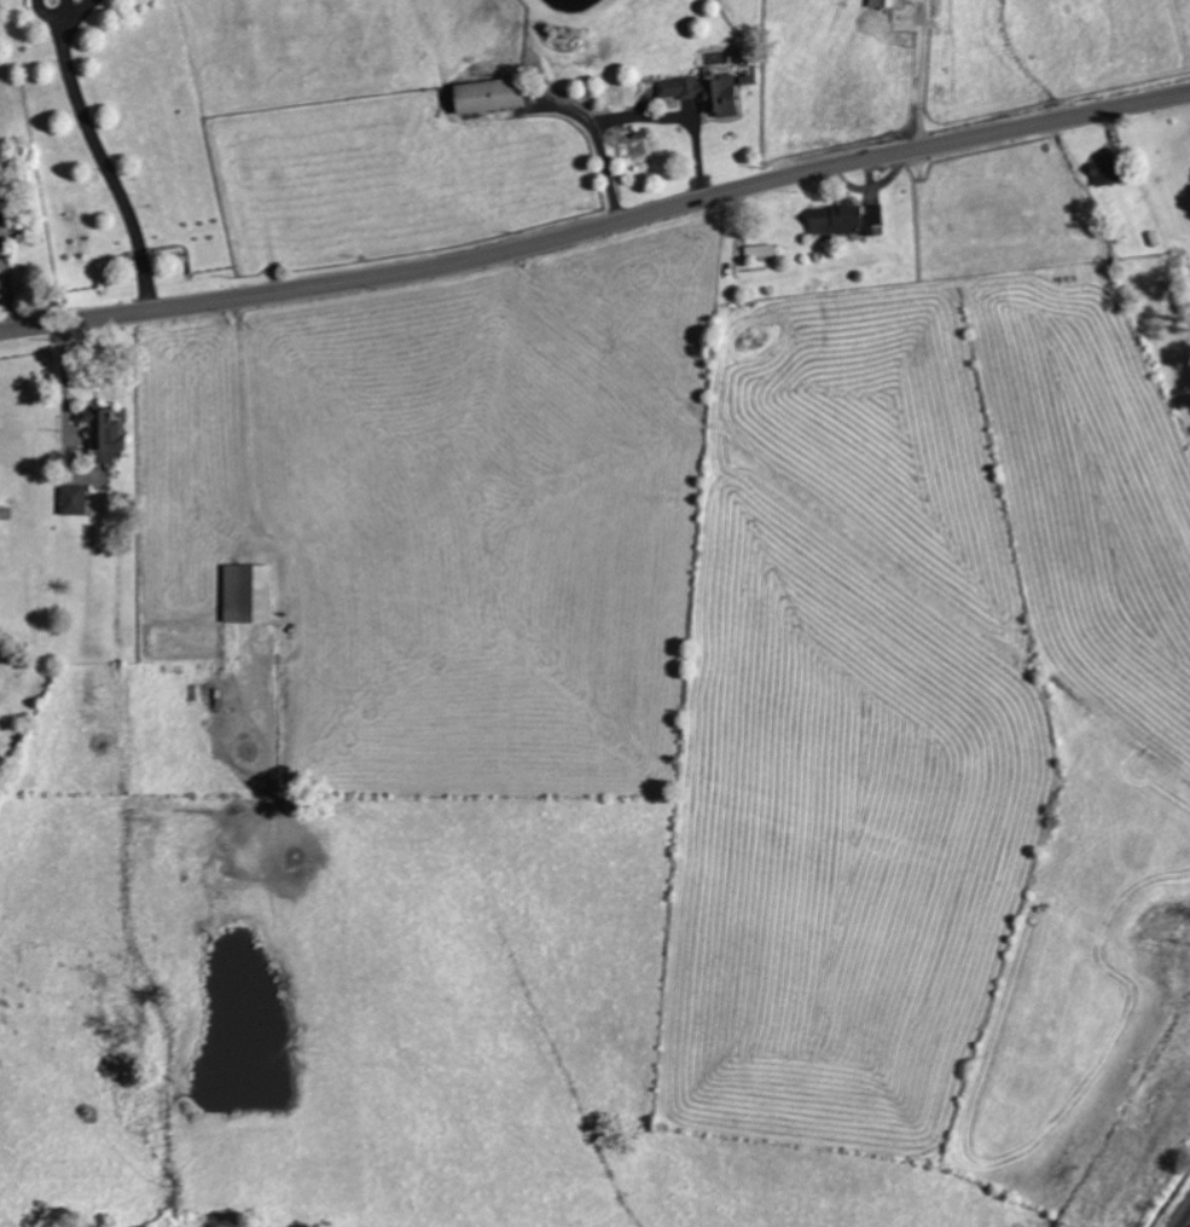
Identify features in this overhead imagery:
building: (889, 4)
building: (706, 92)
building: (492, 96)
building: (1108, 169)
building: (875, 216)
building: (838, 220)
road: (597, 226)
building: (761, 250)
building: (106, 433)
building: (75, 500)
building: (249, 594)
railway: (1184, 1219)

